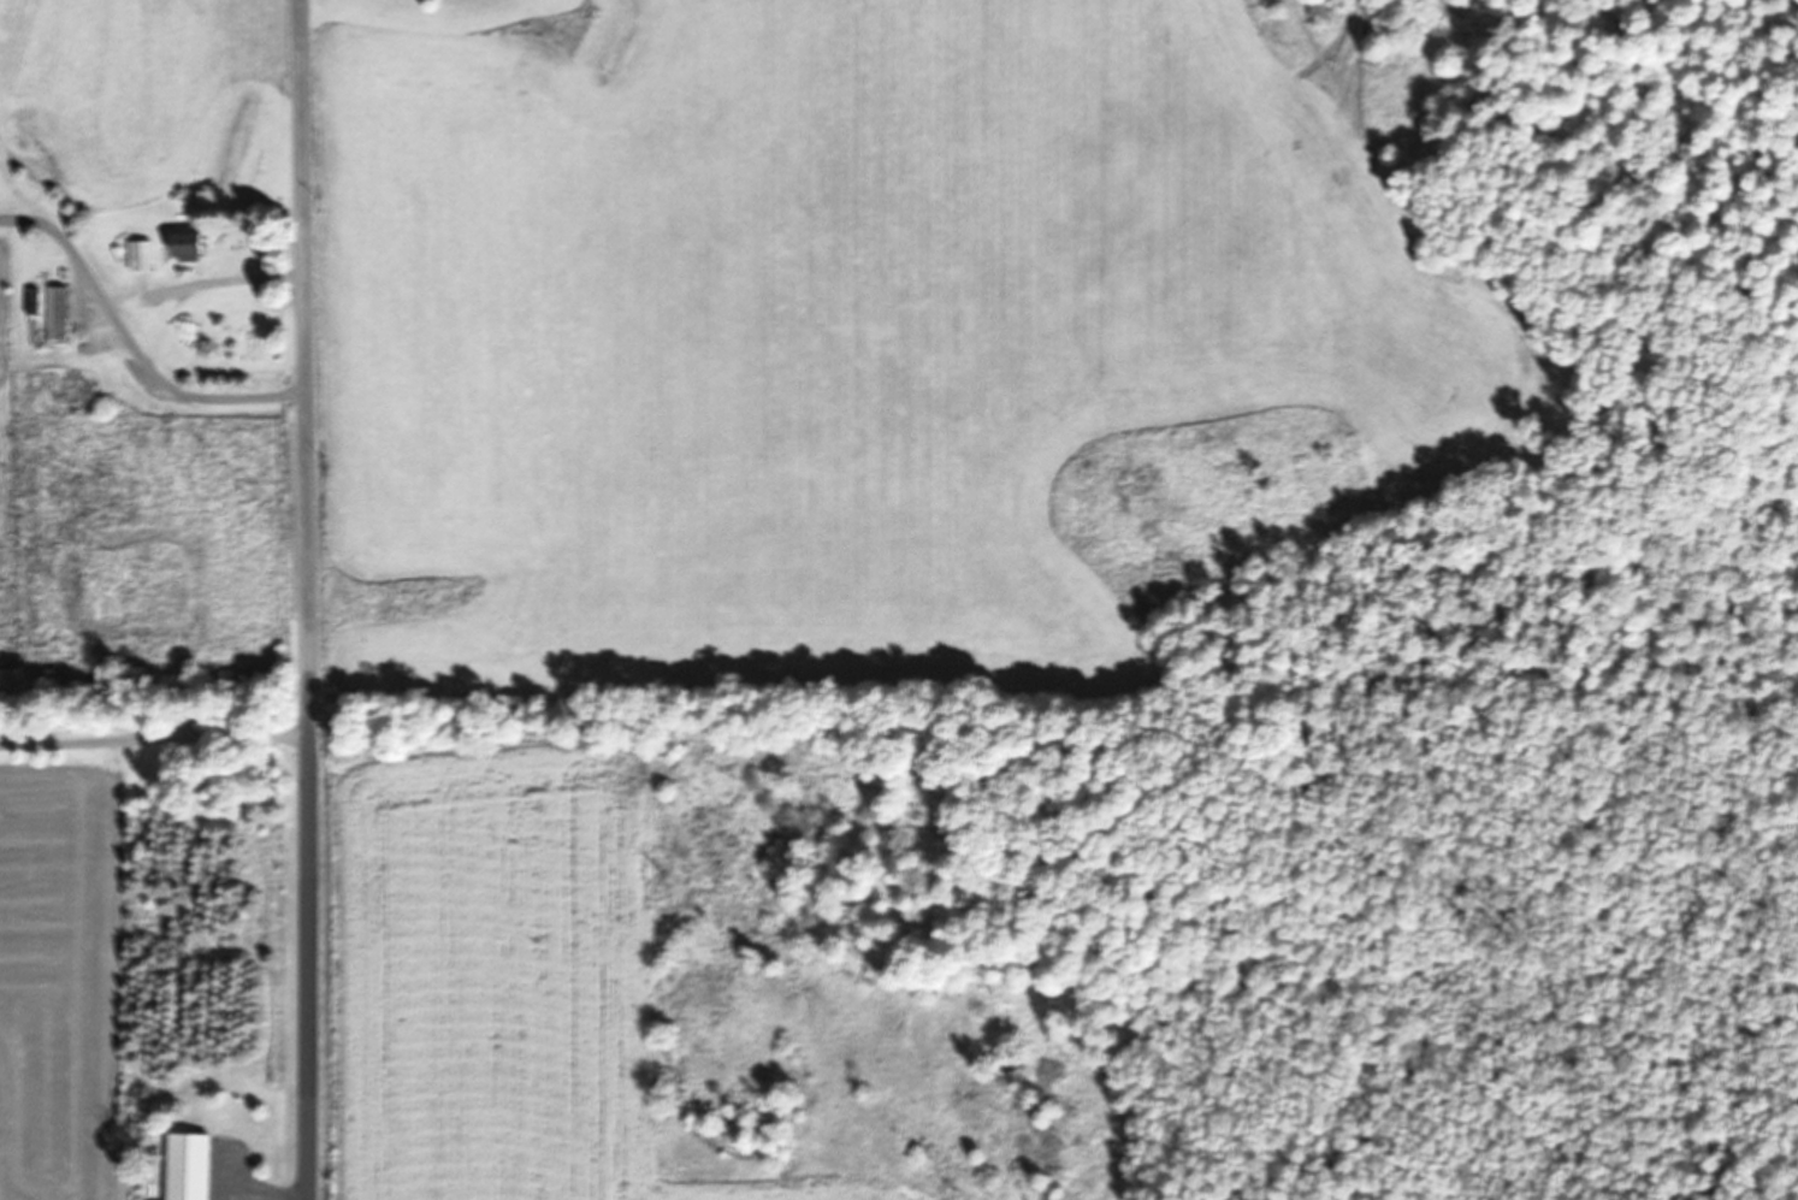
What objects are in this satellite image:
building: (193, 244)
building: (143, 254)
building: (55, 312)
road: (306, 357)
crop: (783, 502)
road: (308, 958)
building: (193, 1166)

